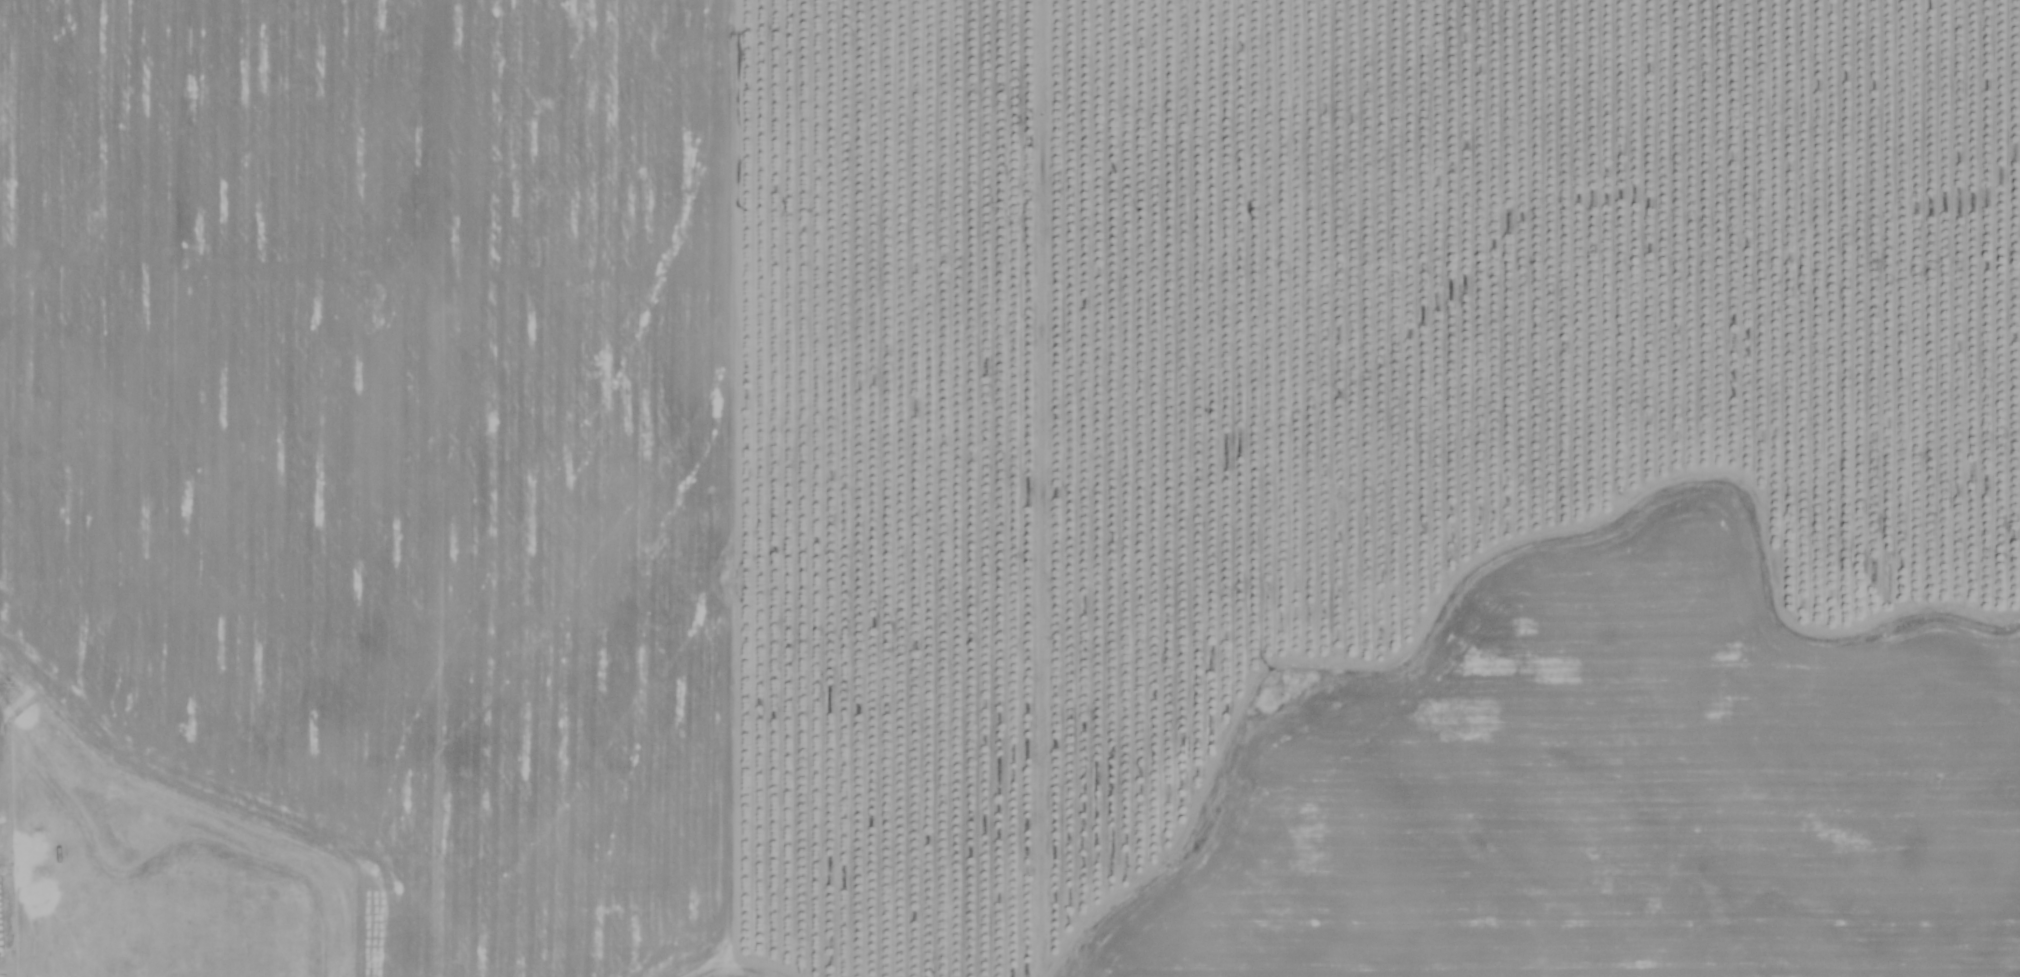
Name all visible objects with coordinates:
crop: (1010, 488)

